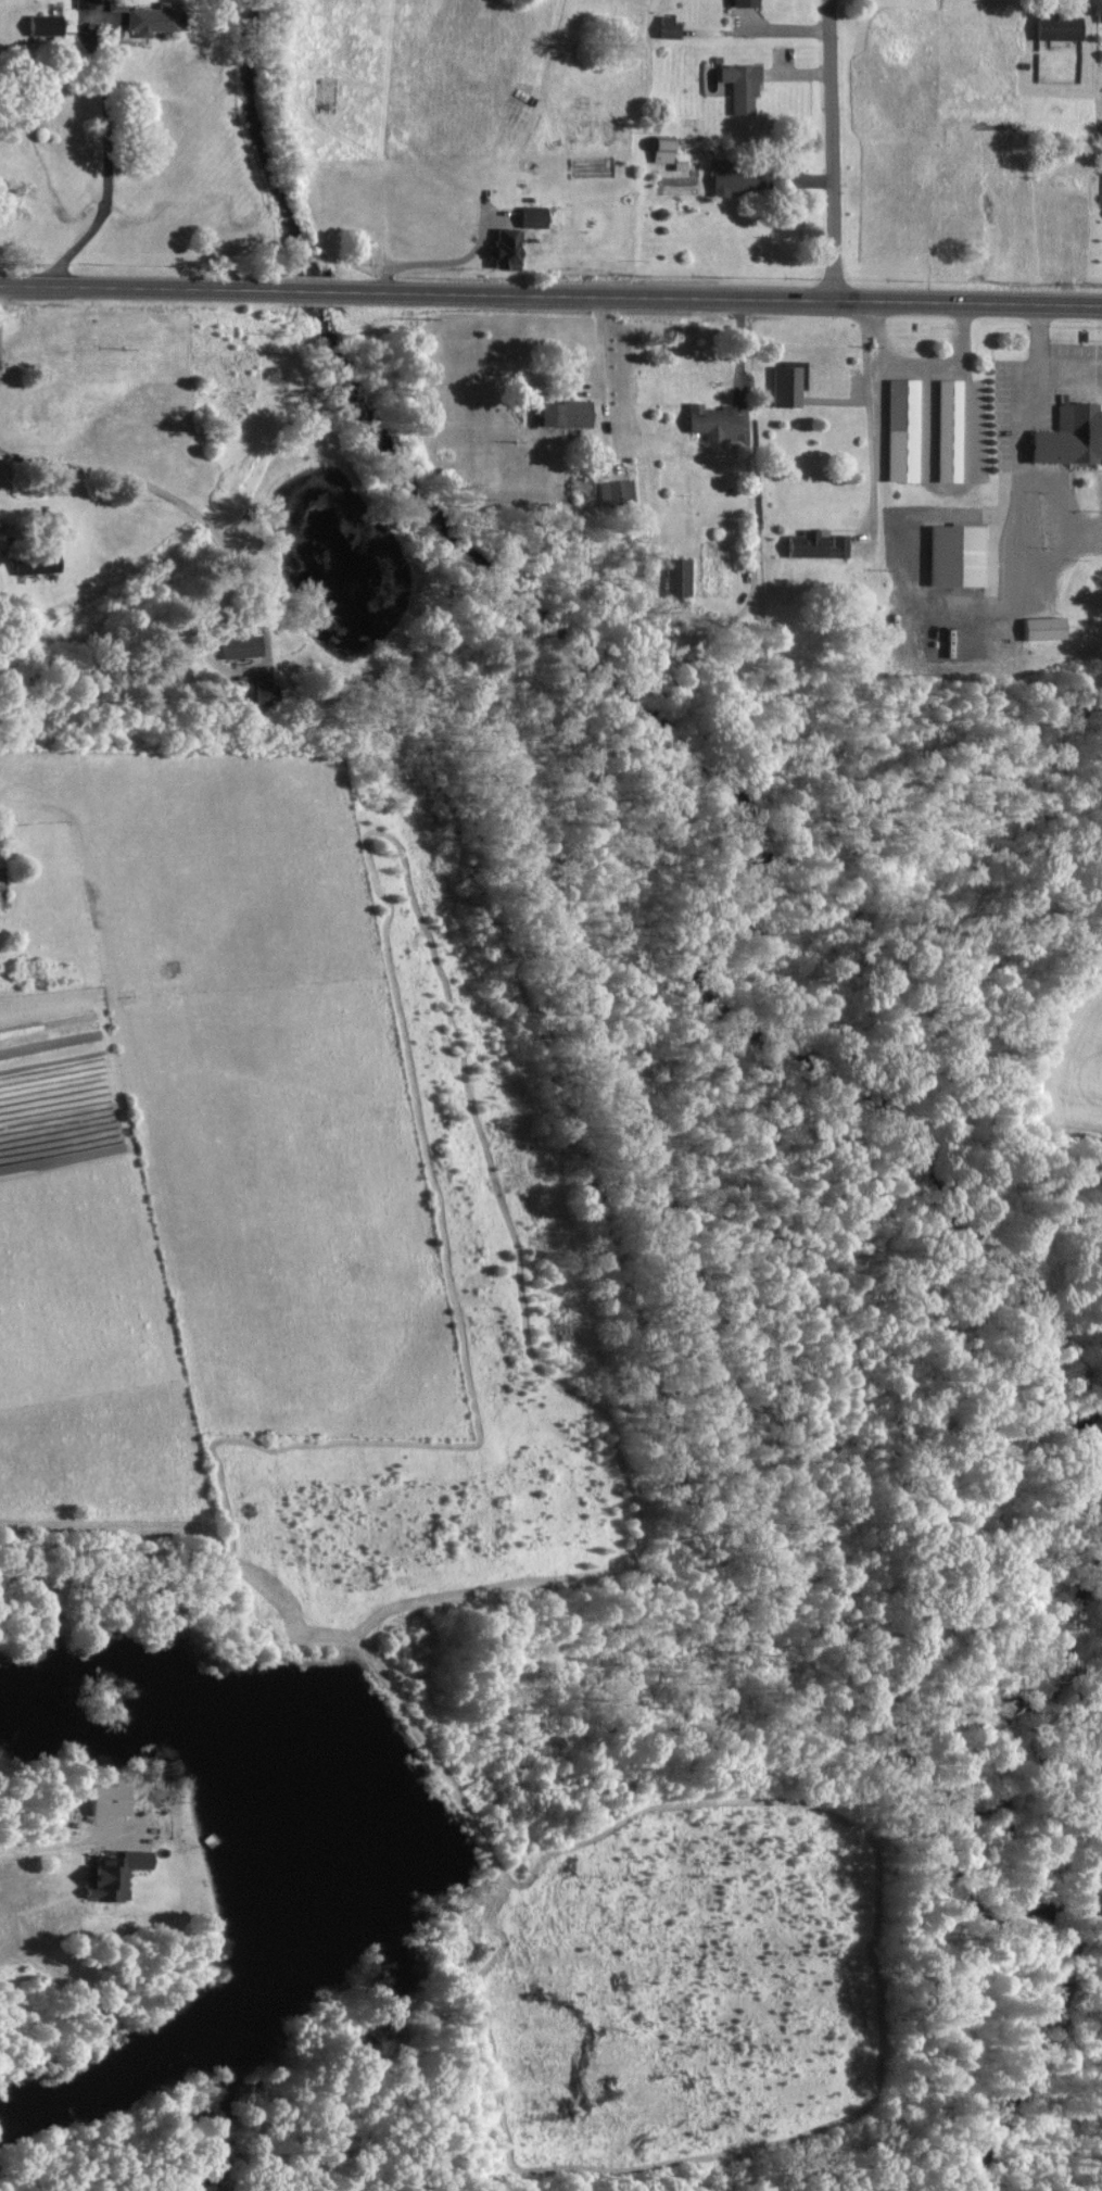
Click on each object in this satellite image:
building: (739, 2)
building: (85, 3)
building: (150, 16)
building: (47, 24)
building: (664, 26)
building: (1053, 27)
building: (737, 86)
building: (657, 148)
road: (835, 152)
road: (105, 166)
building: (731, 180)
building: (540, 214)
building: (498, 256)
road: (138, 288)
road: (309, 290)
road: (721, 300)
road: (920, 367)
road: (1038, 374)
building: (784, 383)
building: (560, 413)
road: (871, 420)
building: (708, 421)
building: (899, 430)
building: (946, 430)
building: (1067, 436)
building: (616, 492)
road: (178, 502)
building: (812, 544)
building: (951, 555)
building: (39, 563)
building: (675, 576)
building: (235, 643)
building: (262, 694)
road: (73, 1844)
building: (109, 1873)

